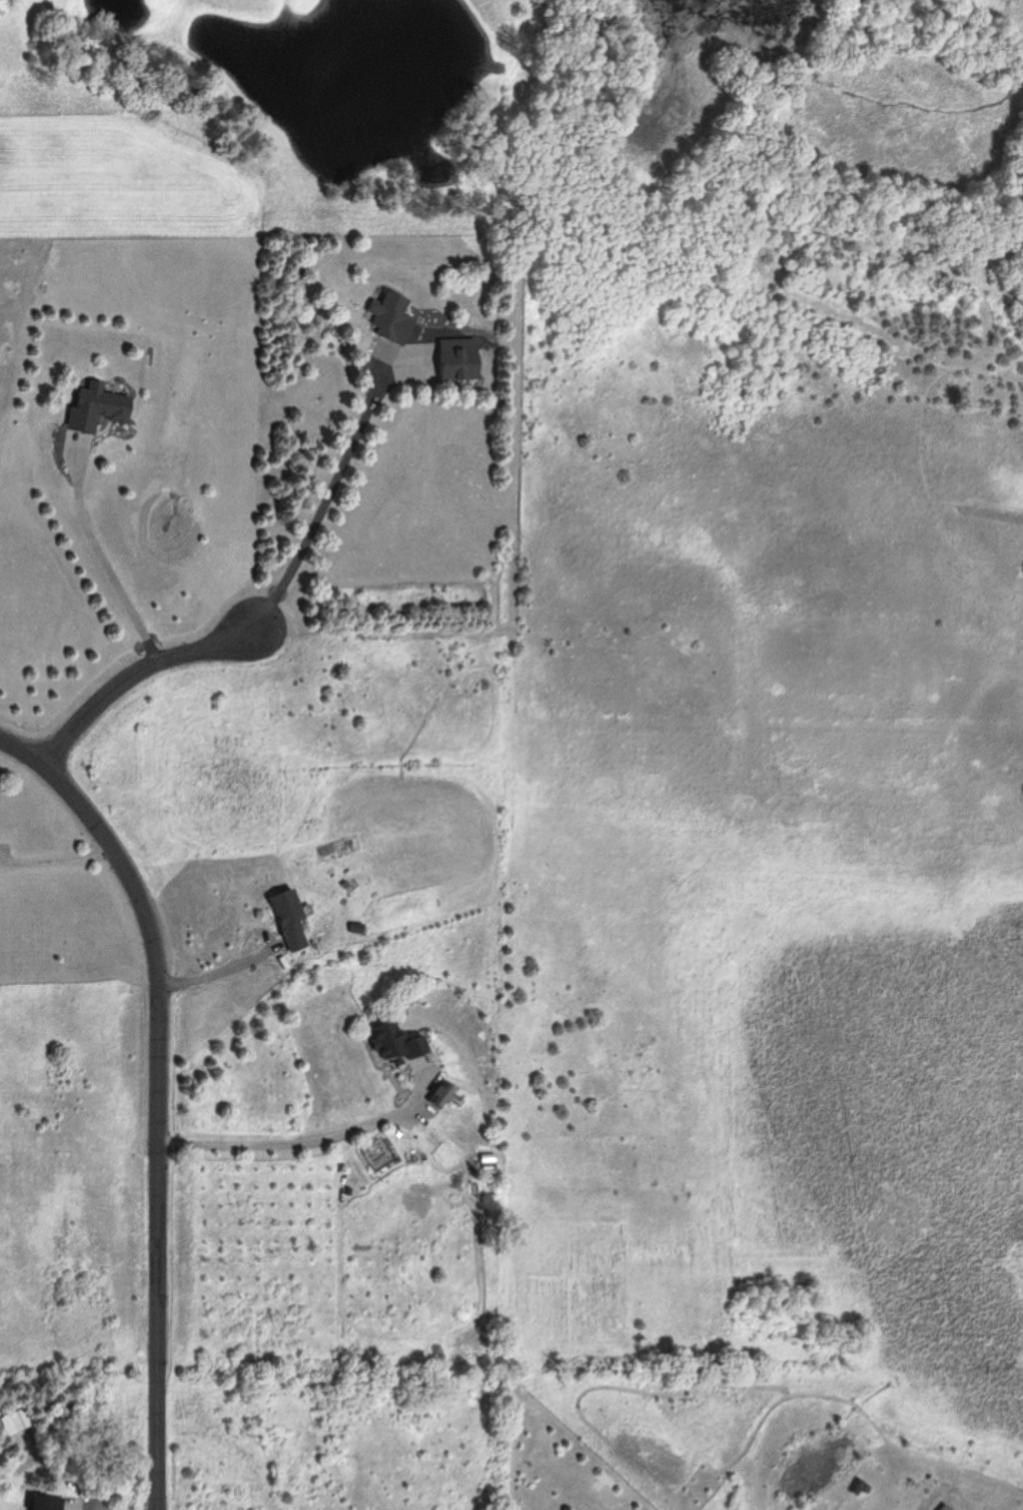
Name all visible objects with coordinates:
building: (390, 316)
building: (460, 358)
building: (97, 407)
road: (101, 562)
road: (254, 626)
road: (56, 858)
road: (218, 966)
building: (397, 1042)
building: (444, 1094)
road: (157, 1117)
road: (285, 1146)
building: (16, 1421)
building: (47, 1502)

